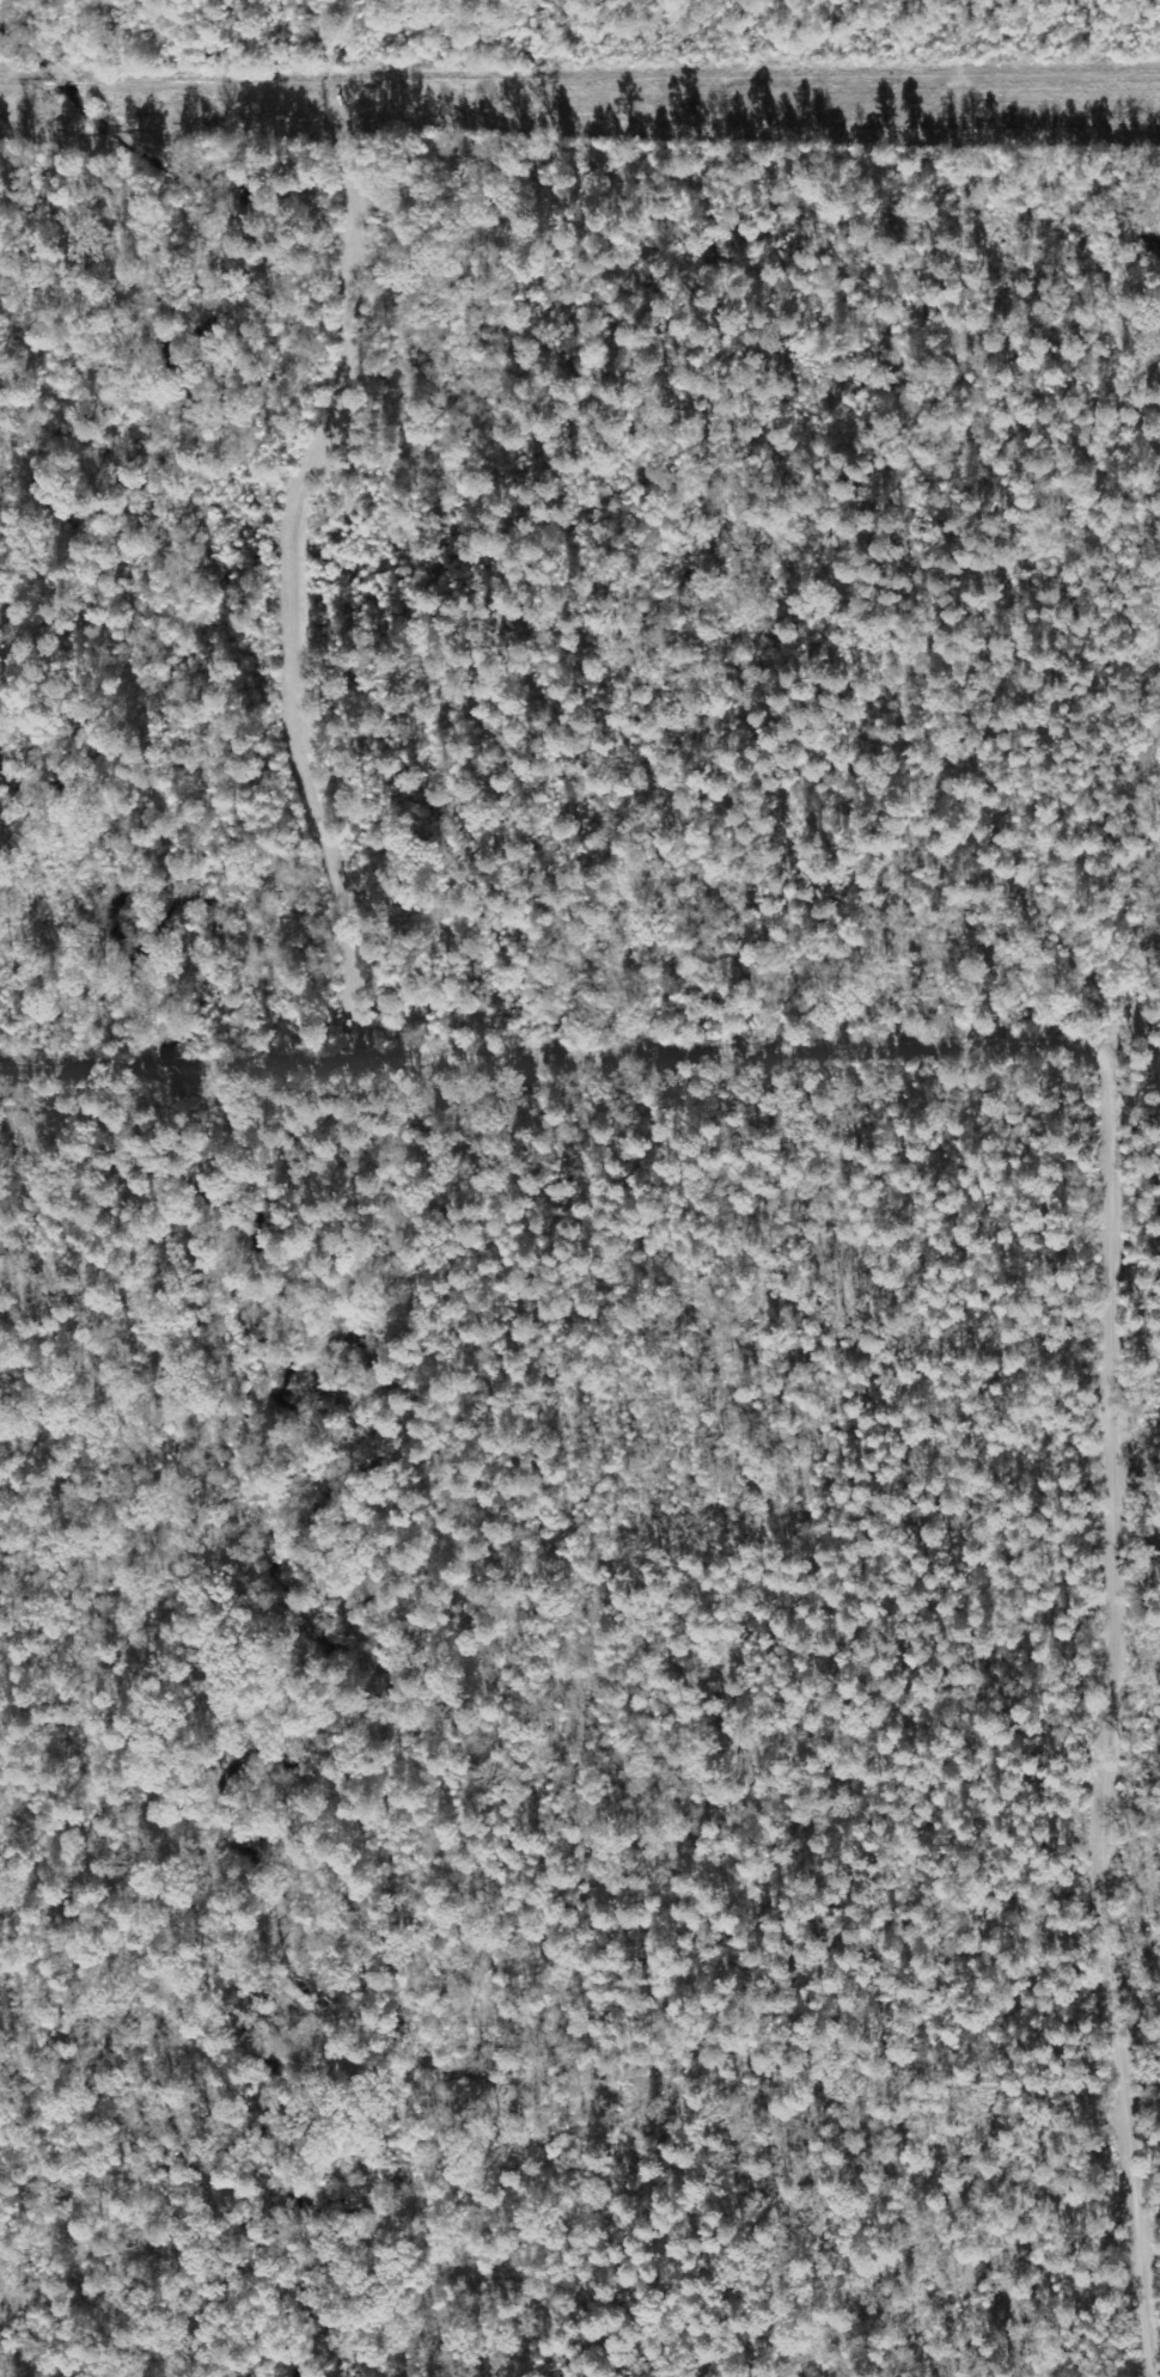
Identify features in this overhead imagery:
road: (346, 513)
road: (579, 1031)
road: (1086, 1693)

